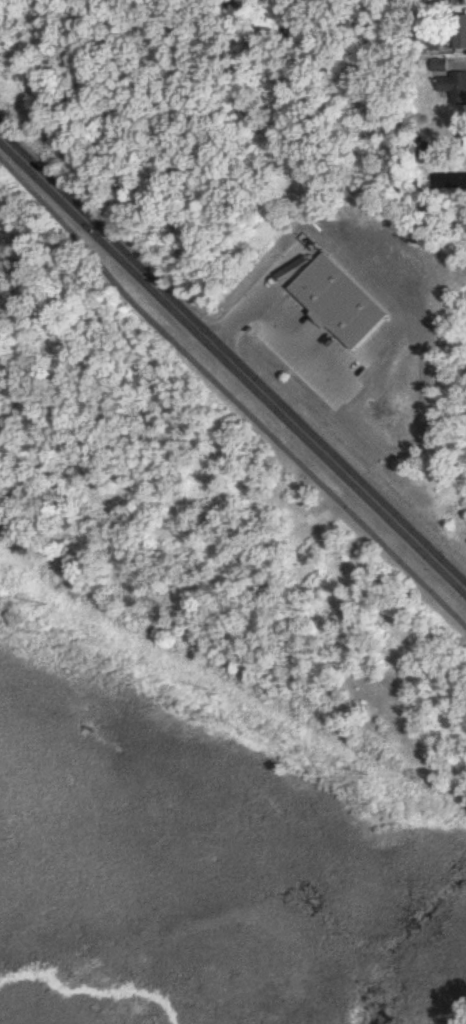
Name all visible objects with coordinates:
building: (455, 0)
building: (460, 38)
building: (457, 89)
road: (465, 181)
road: (276, 313)
road: (232, 364)
road: (229, 396)

